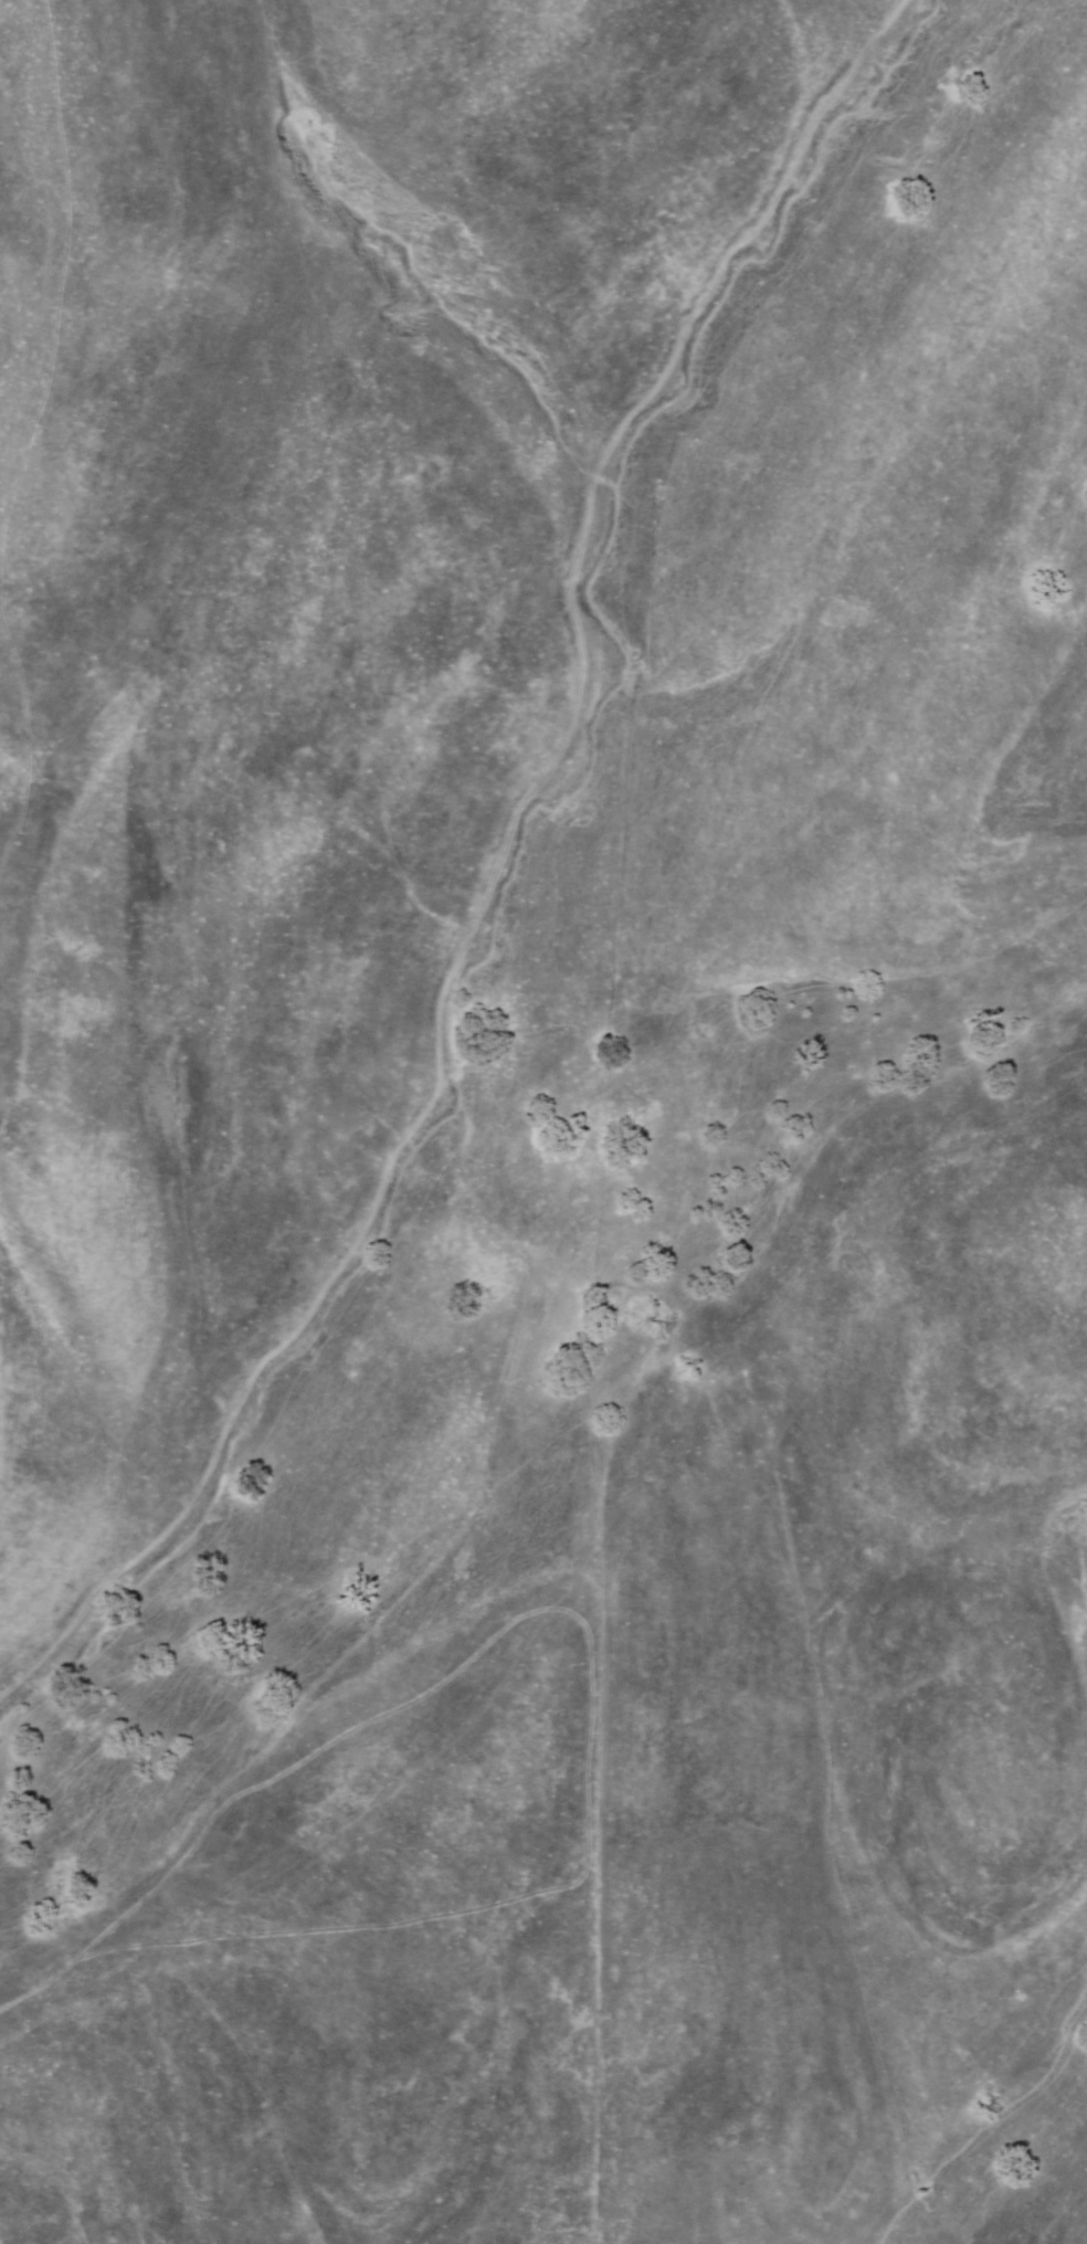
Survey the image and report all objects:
road: (495, 867)

